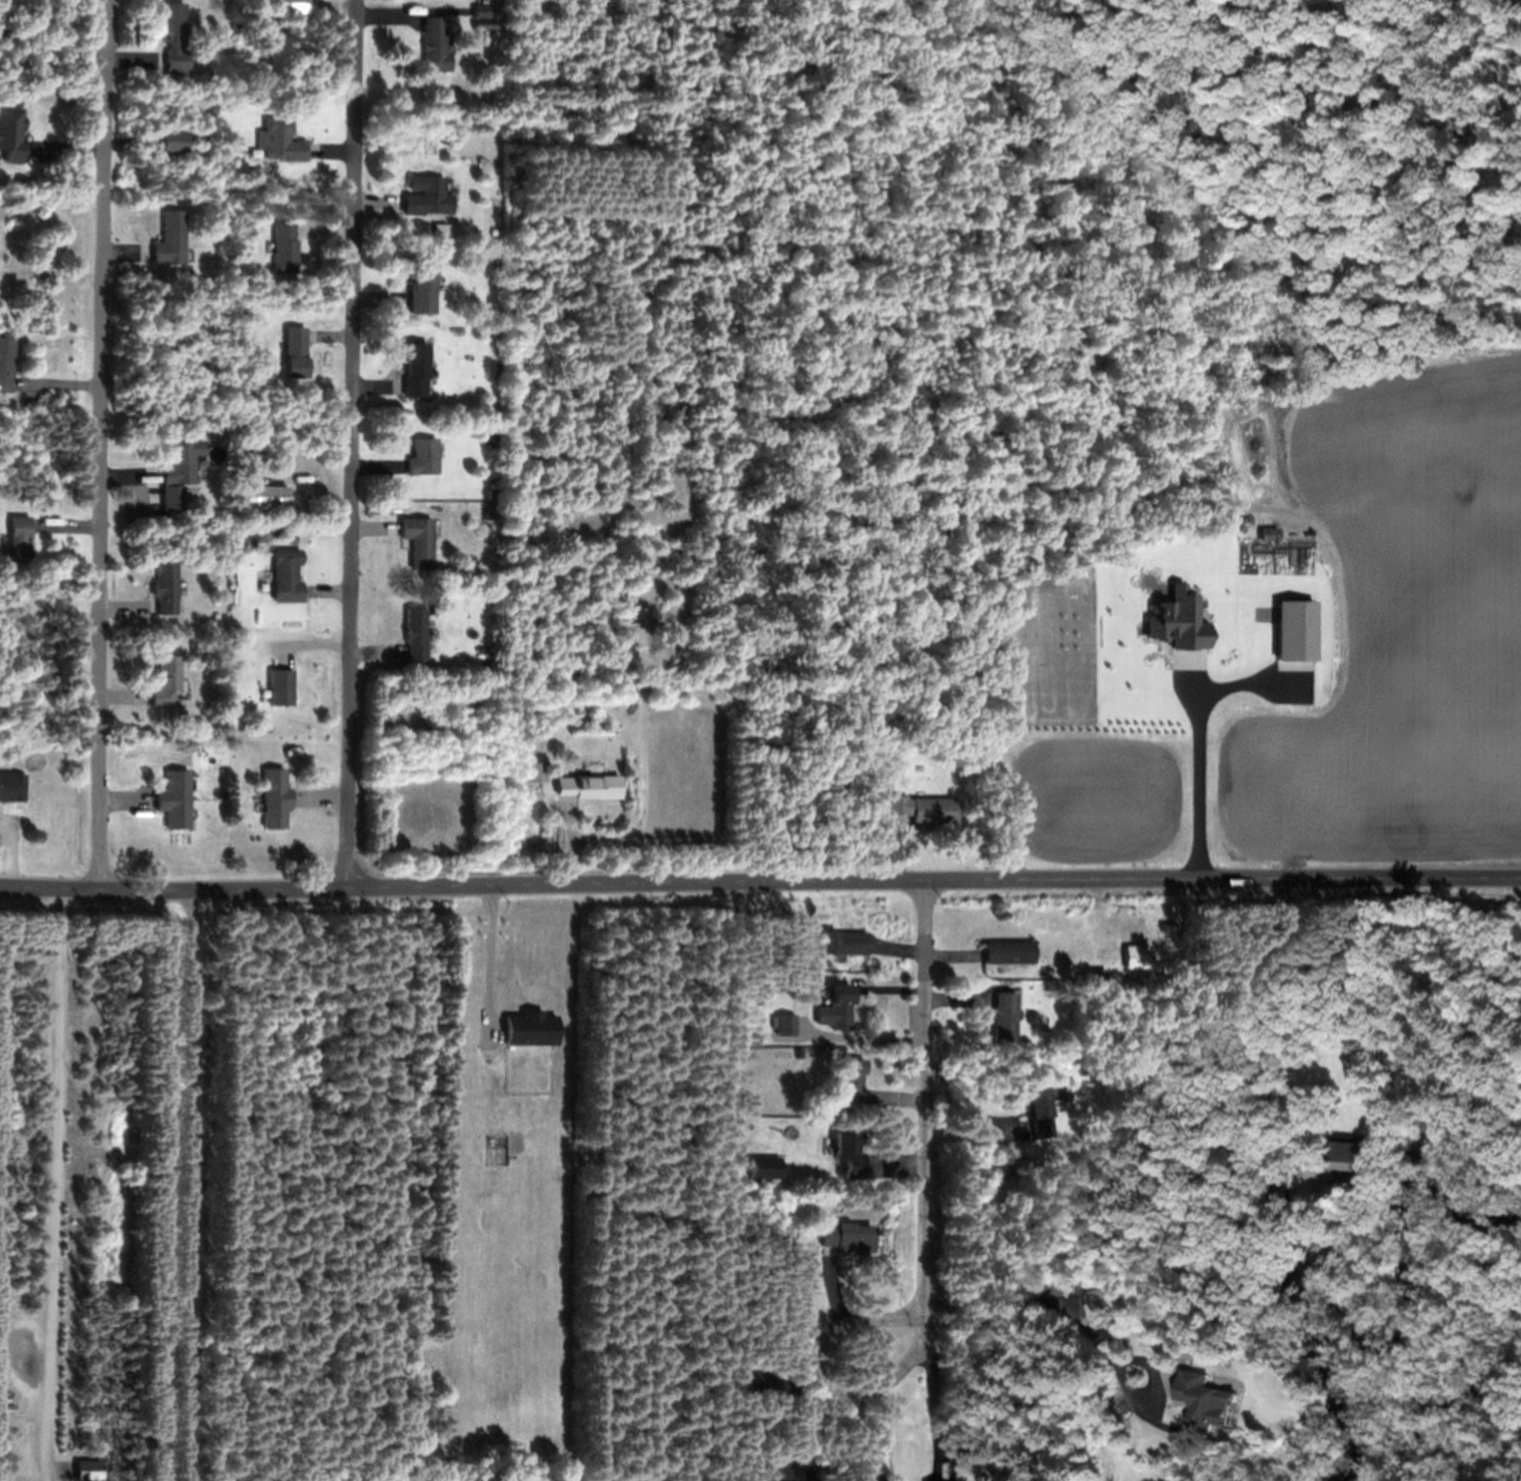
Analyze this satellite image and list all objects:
building: (1520, 0)
building: (290, 9)
building: (479, 11)
building: (174, 37)
building: (435, 44)
building: (246, 88)
building: (11, 134)
building: (279, 140)
building: (174, 142)
building: (480, 147)
building: (426, 195)
building: (447, 228)
building: (493, 231)
building: (440, 233)
building: (170, 238)
building: (283, 248)
building: (421, 287)
building: (496, 334)
building: (294, 352)
building: (6, 363)
building: (414, 369)
road: (355, 444)
road: (105, 446)
building: (422, 456)
building: (494, 458)
building: (244, 466)
building: (178, 471)
building: (493, 494)
building: (270, 497)
building: (636, 540)
building: (418, 541)
building: (18, 542)
building: (286, 575)
building: (164, 587)
building: (593, 594)
building: (315, 603)
building: (415, 633)
building: (564, 672)
building: (165, 680)
building: (281, 687)
building: (833, 740)
building: (535, 771)
building: (12, 786)
building: (589, 786)
building: (828, 794)
building: (274, 798)
building: (174, 799)
building: (923, 808)
road: (760, 884)
building: (843, 942)
building: (1007, 952)
building: (1136, 956)
building: (1099, 972)
building: (839, 1006)
building: (1003, 1013)
building: (786, 1025)
building: (802, 1025)
building: (802, 1033)
building: (850, 1079)
road: (930, 1100)
building: (1040, 1111)
building: (848, 1153)
building: (1351, 1161)
building: (765, 1167)
building: (1000, 1171)
building: (1275, 1171)
building: (1281, 1192)
building: (847, 1237)
building: (1097, 1301)
road: (818, 1357)
building: (758, 1376)
building: (1196, 1398)
building: (87, 1471)

